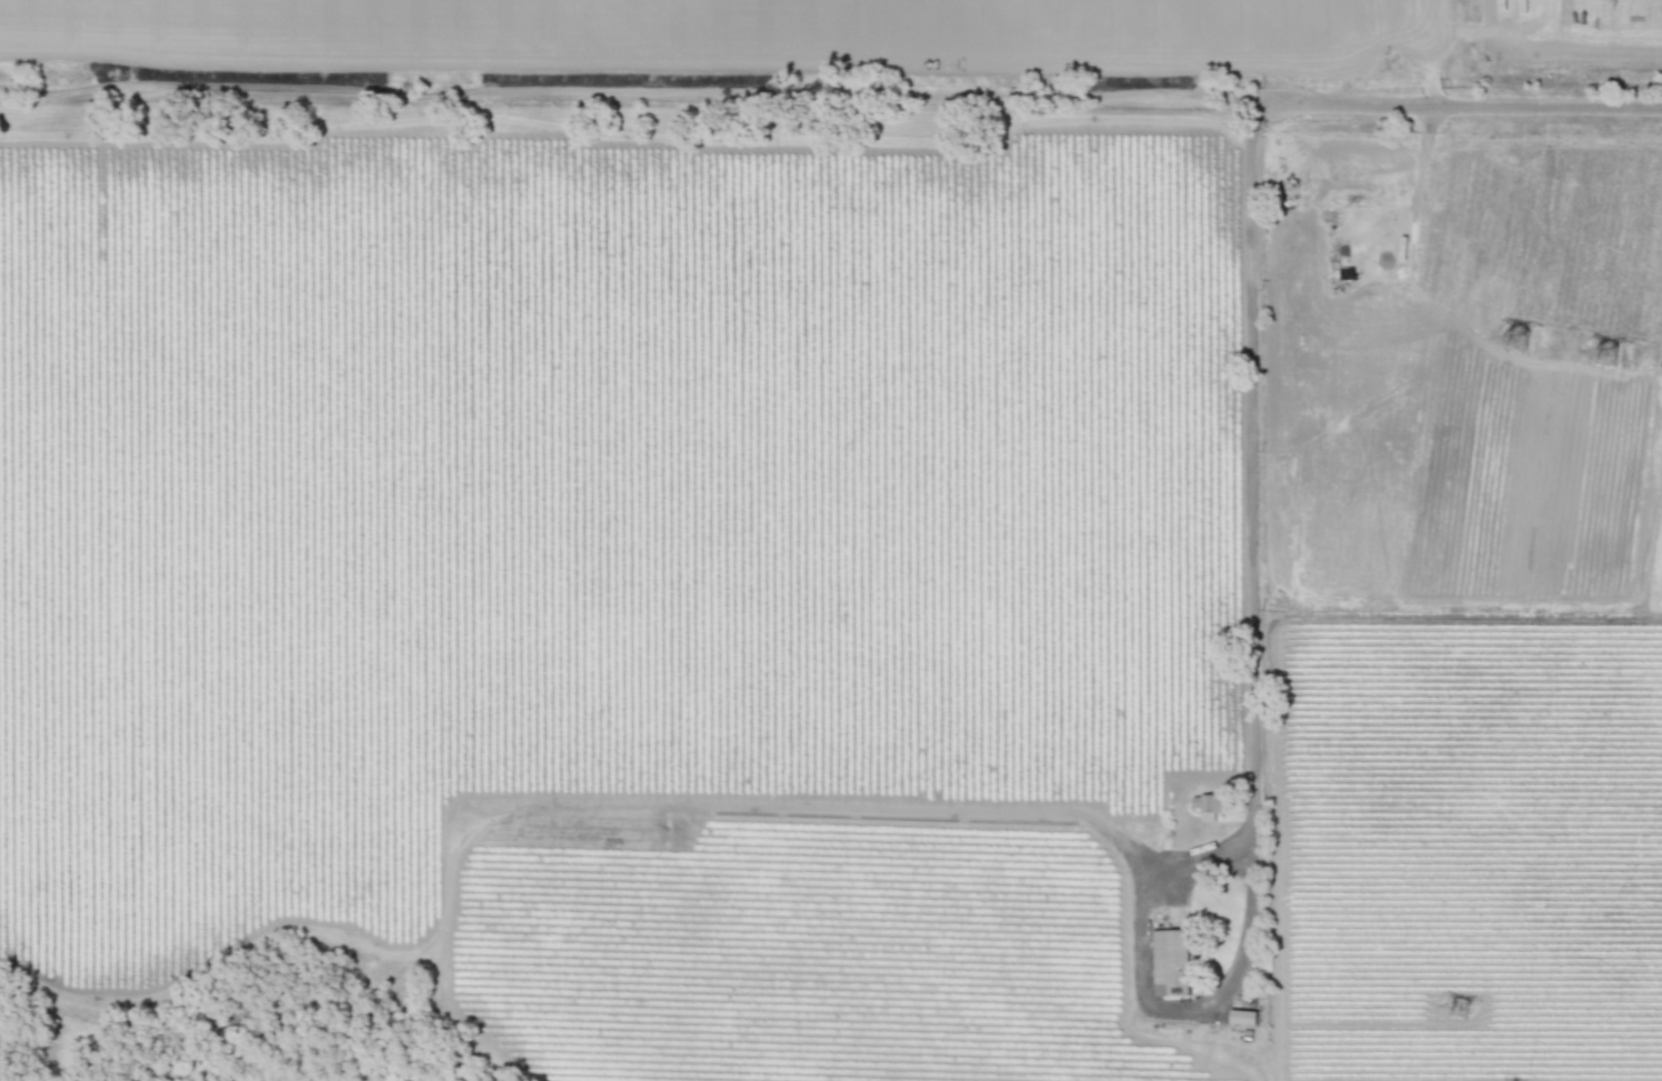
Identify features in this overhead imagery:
road: (1405, 104)
power tower: (1520, 341)
power tower: (1596, 352)
crop: (854, 520)
road: (1456, 617)
road: (1251, 712)
building: (1209, 804)
building: (1170, 961)
power tower: (1448, 1008)
building: (1242, 1015)

